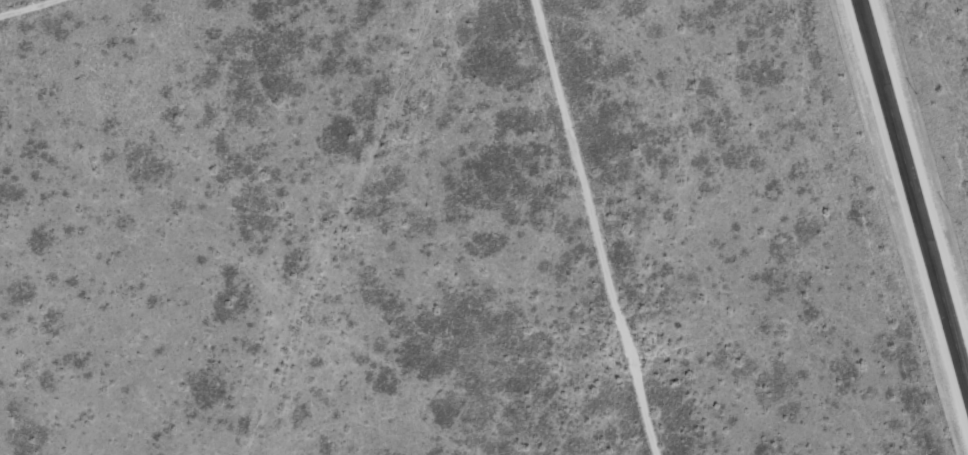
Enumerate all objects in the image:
road: (913, 194)

